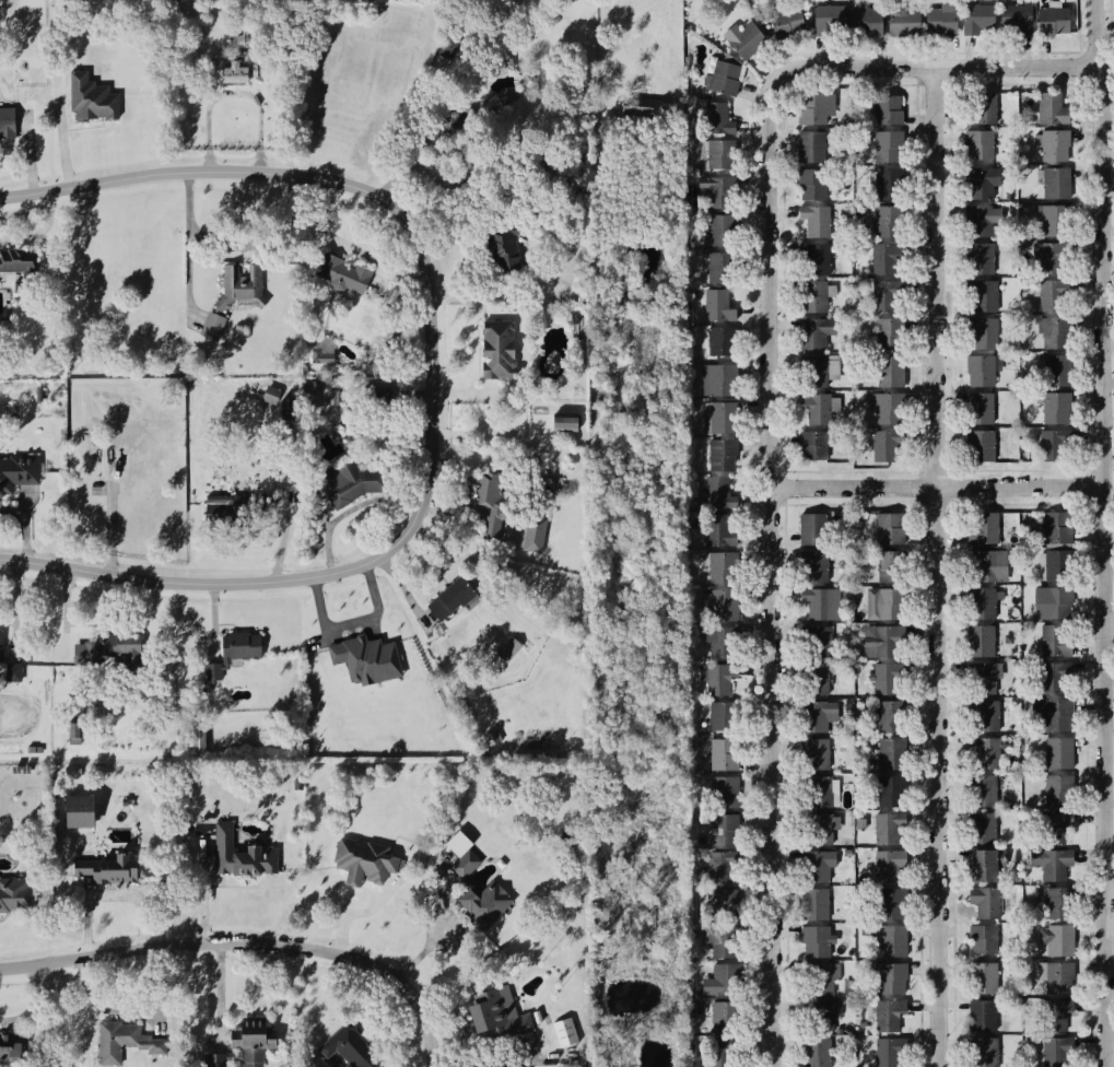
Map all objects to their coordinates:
building: (976, 16)
building: (1016, 16)
building: (941, 19)
building: (1053, 19)
building: (829, 20)
building: (902, 20)
building: (865, 21)
building: (786, 22)
building: (743, 38)
building: (497, 66)
road: (945, 67)
building: (228, 71)
building: (722, 78)
building: (86, 96)
building: (643, 106)
building: (981, 107)
building: (1044, 107)
building: (810, 108)
building: (887, 109)
building: (716, 117)
building: (3, 121)
building: (459, 129)
building: (978, 144)
building: (810, 145)
building: (888, 145)
building: (1048, 145)
building: (720, 153)
road: (283, 169)
building: (1054, 181)
building: (888, 183)
building: (975, 183)
building: (811, 184)
building: (717, 190)
building: (1049, 219)
building: (813, 220)
building: (890, 220)
building: (974, 221)
building: (722, 230)
road: (185, 242)
building: (502, 247)
building: (1046, 256)
building: (977, 257)
building: (817, 258)
building: (887, 258)
building: (719, 267)
building: (20, 268)
building: (339, 272)
building: (1049, 294)
building: (813, 295)
building: (883, 295)
building: (983, 295)
building: (232, 296)
building: (717, 305)
building: (981, 330)
building: (814, 332)
building: (888, 332)
building: (1048, 332)
building: (722, 340)
building: (494, 347)
building: (320, 349)
building: (818, 370)
building: (890, 371)
building: (980, 371)
building: (1054, 372)
building: (718, 378)
building: (43, 390)
building: (36, 392)
building: (376, 394)
building: (269, 395)
building: (331, 397)
building: (818, 407)
building: (976, 407)
building: (1048, 407)
building: (285, 409)
building: (884, 409)
building: (718, 417)
building: (559, 420)
building: (814, 444)
building: (1049, 444)
building: (884, 445)
building: (978, 446)
building: (722, 454)
building: (17, 471)
building: (351, 482)
road: (936, 484)
building: (481, 490)
building: (716, 492)
building: (235, 511)
building: (489, 519)
building: (889, 527)
building: (1052, 527)
building: (811, 528)
building: (981, 528)
building: (718, 530)
road: (1106, 532)
building: (530, 537)
road: (765, 564)
building: (983, 564)
building: (1056, 564)
building: (814, 565)
building: (889, 565)
building: (719, 566)
road: (938, 566)
road: (302, 578)
building: (447, 599)
building: (817, 601)
building: (883, 602)
building: (978, 602)
building: (1048, 602)
building: (720, 603)
building: (817, 638)
building: (882, 640)
building: (978, 640)
building: (1052, 640)
building: (718, 641)
building: (113, 648)
building: (506, 650)
building: (233, 652)
building: (361, 657)
building: (10, 666)
building: (716, 677)
building: (817, 677)
building: (978, 677)
building: (1048, 677)
building: (883, 679)
building: (1052, 713)
building: (982, 714)
building: (810, 715)
building: (881, 715)
building: (720, 716)
building: (72, 731)
building: (197, 734)
building: (492, 737)
building: (33, 748)
building: (978, 750)
building: (884, 752)
building: (1056, 752)
building: (723, 753)
building: (816, 753)
building: (295, 784)
building: (724, 790)
building: (818, 790)
building: (886, 790)
building: (981, 790)
building: (1055, 790)
building: (77, 808)
building: (822, 826)
building: (1053, 826)
building: (981, 828)
building: (724, 829)
building: (883, 829)
building: (458, 843)
building: (564, 845)
building: (241, 854)
building: (365, 858)
building: (466, 863)
building: (1052, 863)
building: (884, 864)
building: (984, 864)
building: (814, 866)
building: (107, 868)
building: (722, 868)
building: (15, 894)
building: (886, 900)
building: (985, 900)
building: (483, 901)
building: (1053, 901)
building: (811, 902)
building: (723, 903)
building: (814, 937)
building: (983, 938)
building: (1056, 938)
building: (720, 940)
building: (892, 940)
road: (248, 942)
building: (817, 975)
building: (887, 975)
building: (983, 976)
building: (725, 977)
building: (1055, 977)
building: (818, 1012)
building: (888, 1013)
building: (1054, 1013)
building: (497, 1015)
building: (978, 1015)
building: (724, 1017)
building: (564, 1032)
building: (122, 1040)
building: (243, 1044)
building: (350, 1046)
building: (11, 1047)
building: (1053, 1050)
building: (887, 1051)
building: (981, 1052)
building: (718, 1053)
building: (809, 1053)

